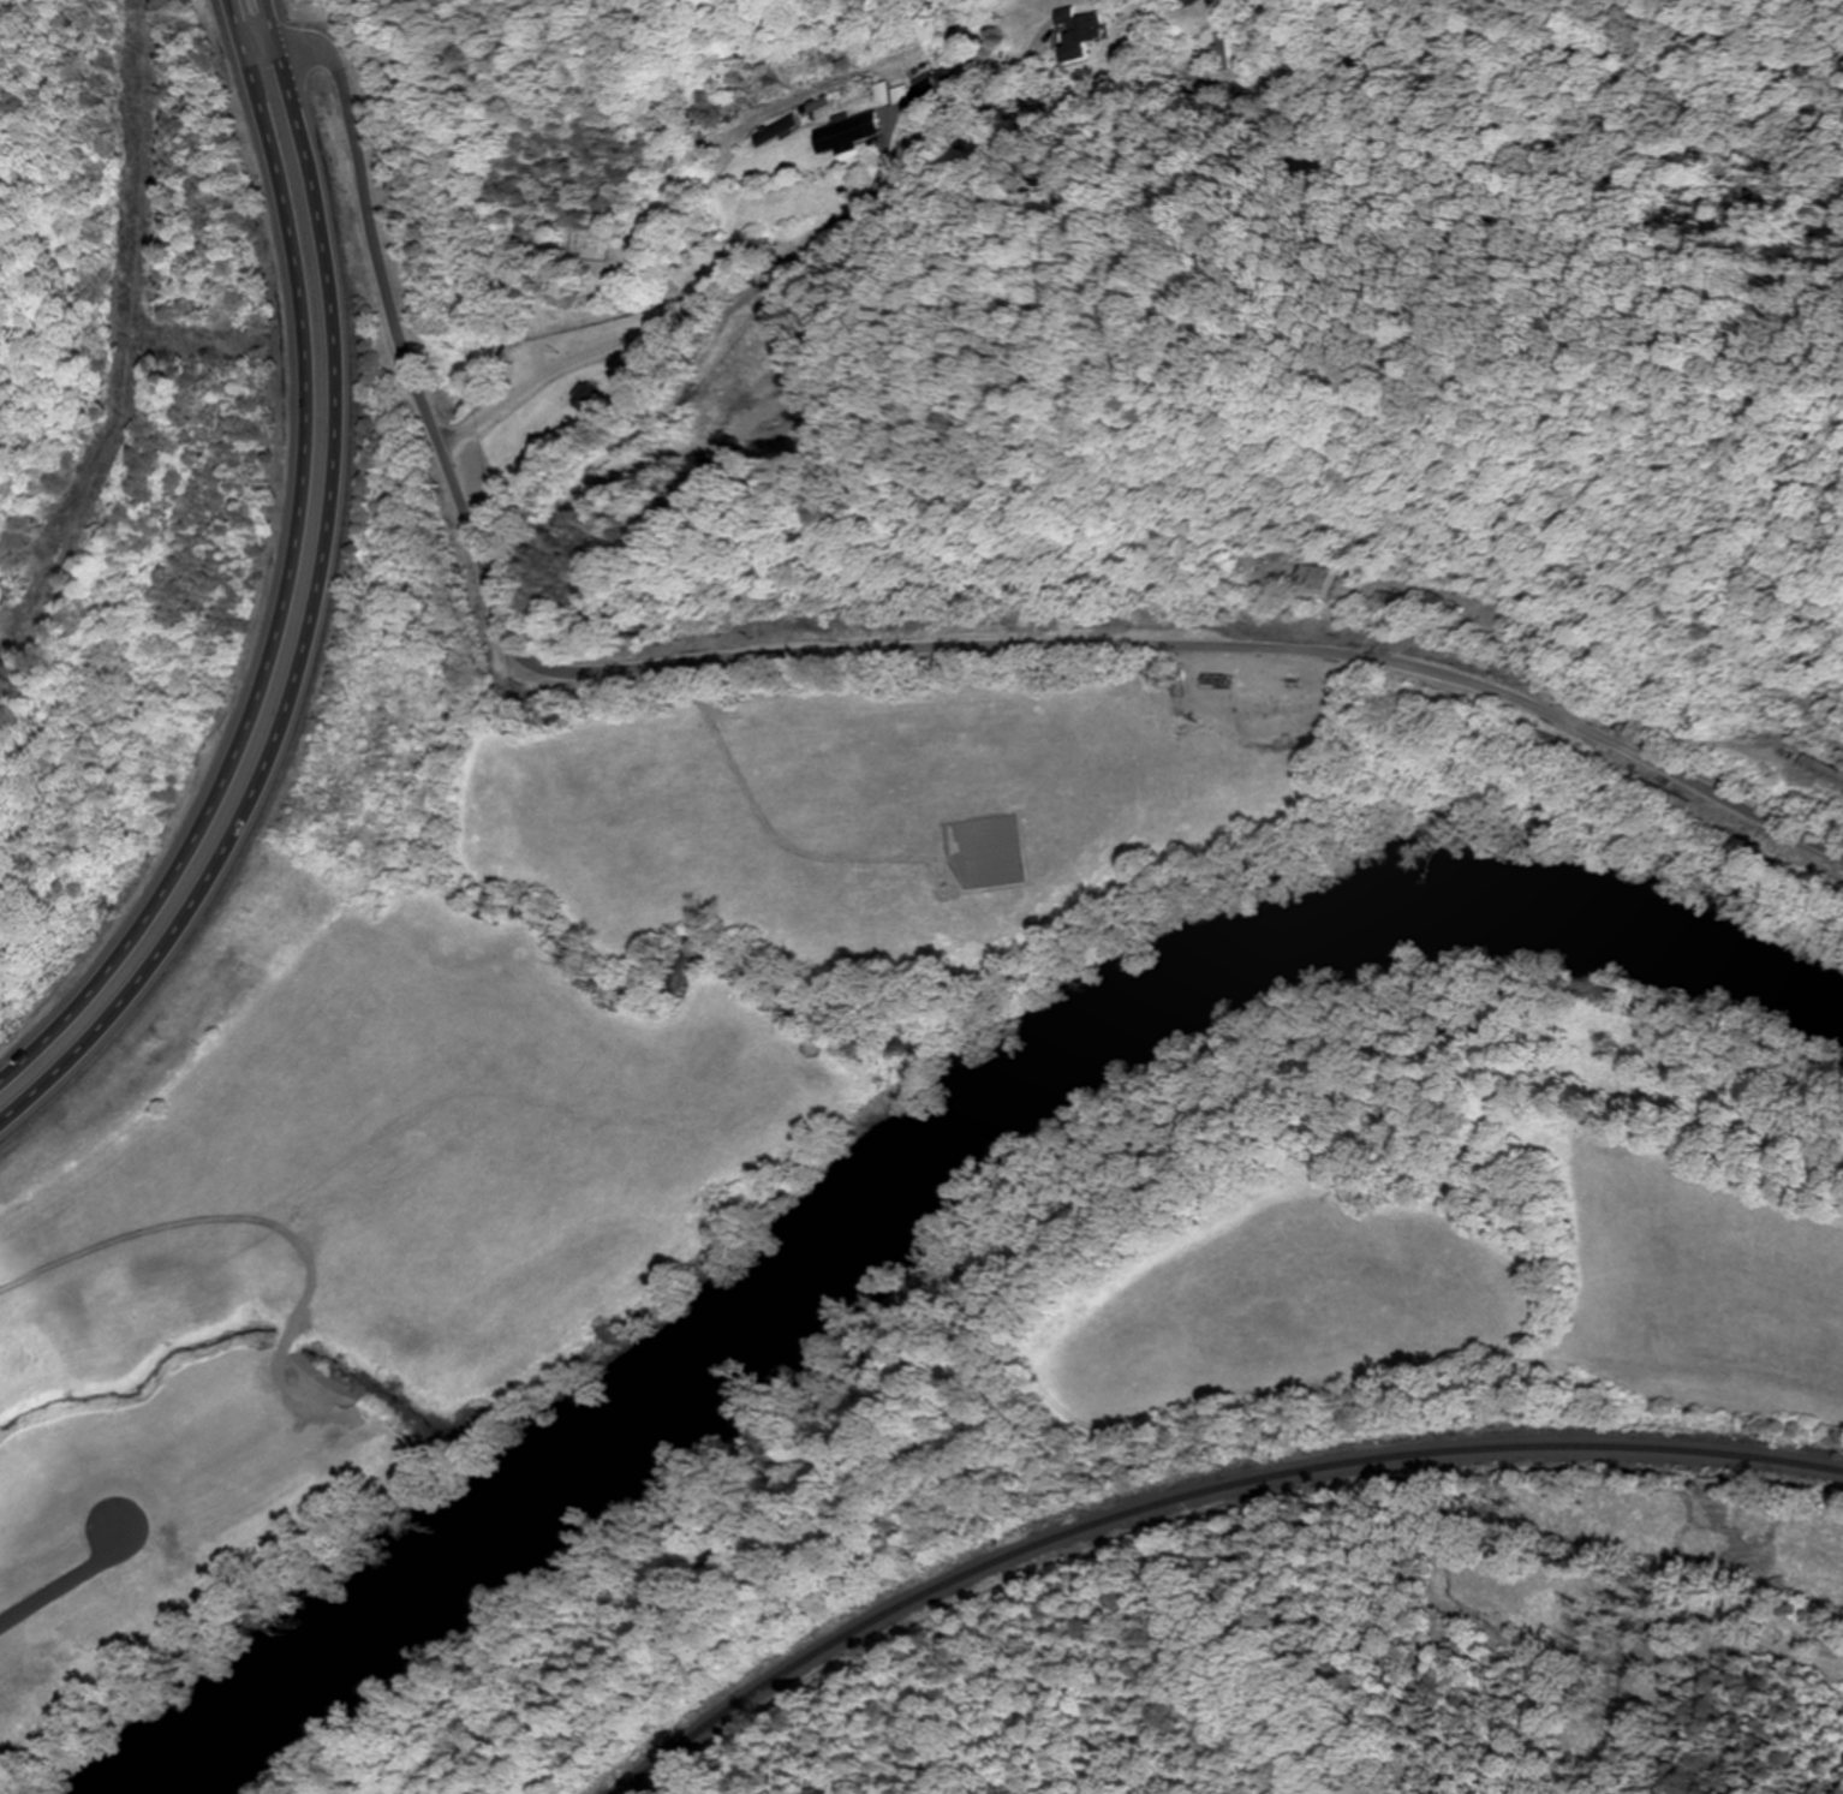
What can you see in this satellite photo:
building: (1186, 2)
building: (1079, 35)
building: (1235, 49)
building: (893, 96)
building: (846, 133)
road: (815, 243)
road: (934, 360)
road: (284, 574)
building: (1300, 577)
road: (321, 612)
road: (841, 651)
river: (926, 1160)
railway: (1191, 1492)

